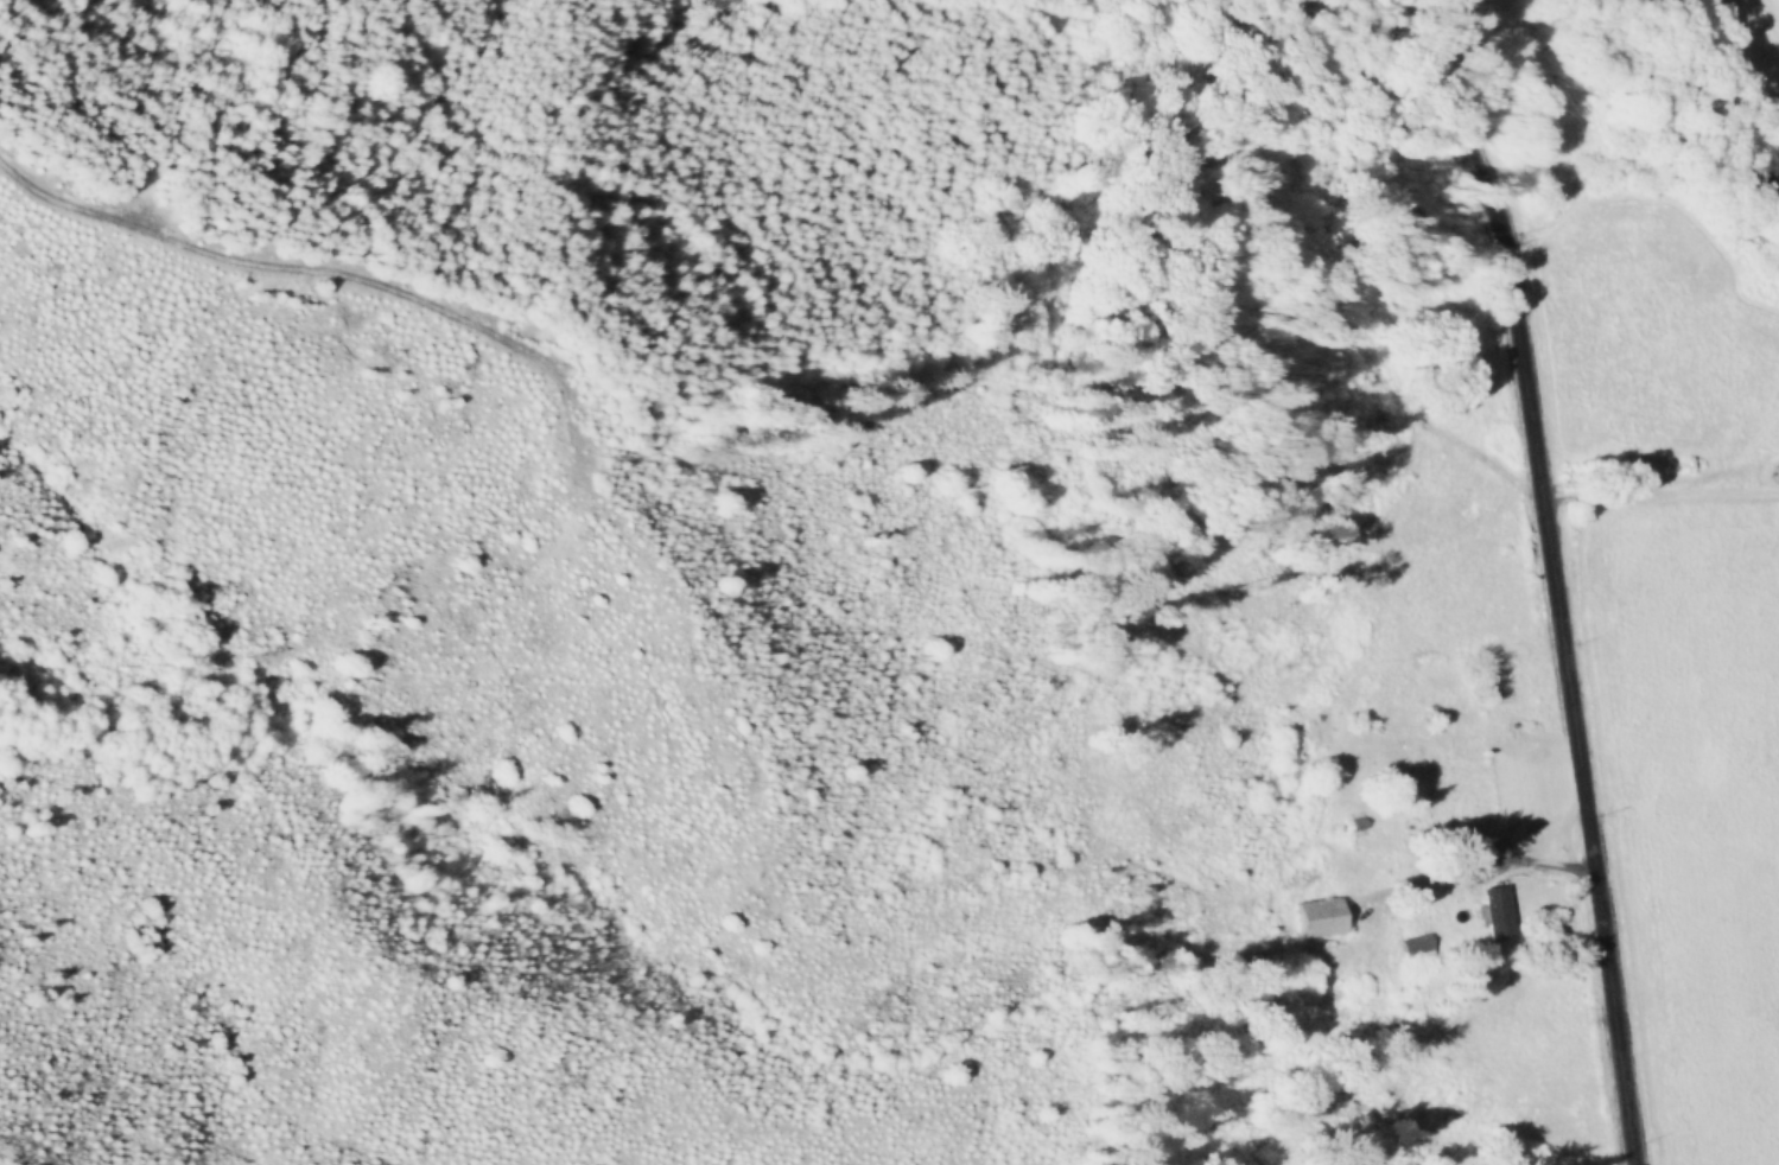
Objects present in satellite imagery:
road: (1552, 582)
road: (1532, 859)
building: (1497, 910)
building: (1320, 912)

